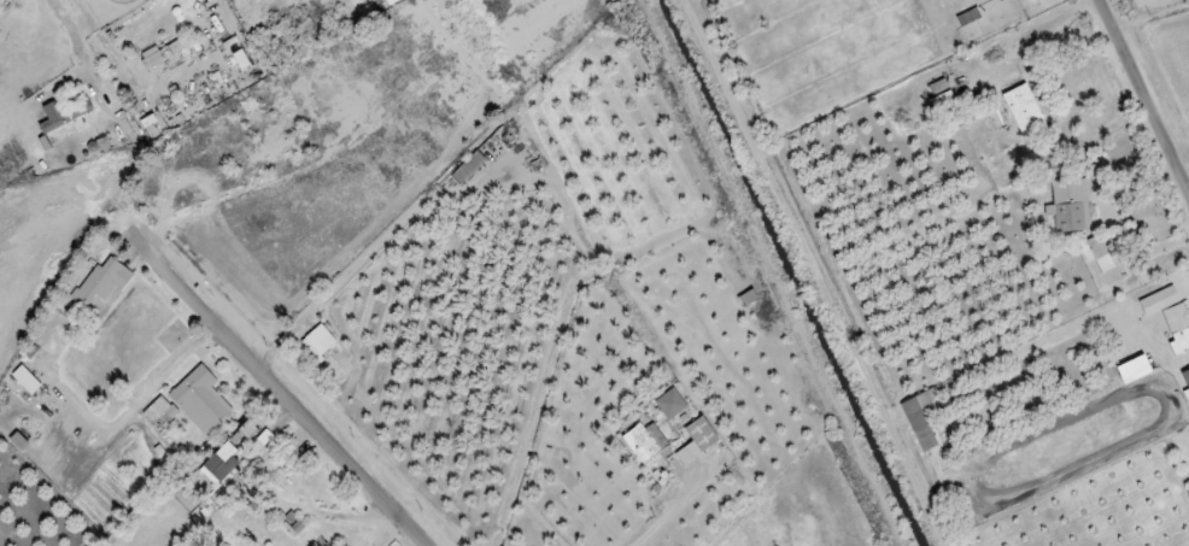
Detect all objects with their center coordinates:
building: (388, 1)
building: (162, 53)
road: (1144, 95)
building: (941, 96)
building: (1023, 110)
building: (63, 115)
road: (1181, 154)
building: (468, 168)
building: (1070, 206)
building: (1095, 253)
building: (101, 282)
building: (1170, 317)
building: (321, 350)
building: (1134, 370)
building: (1185, 377)
building: (25, 380)
road: (277, 387)
building: (200, 400)
building: (670, 404)
building: (159, 412)
building: (920, 418)
building: (247, 429)
building: (697, 441)
building: (645, 442)
building: (221, 463)
road: (667, 512)
building: (314, 545)

